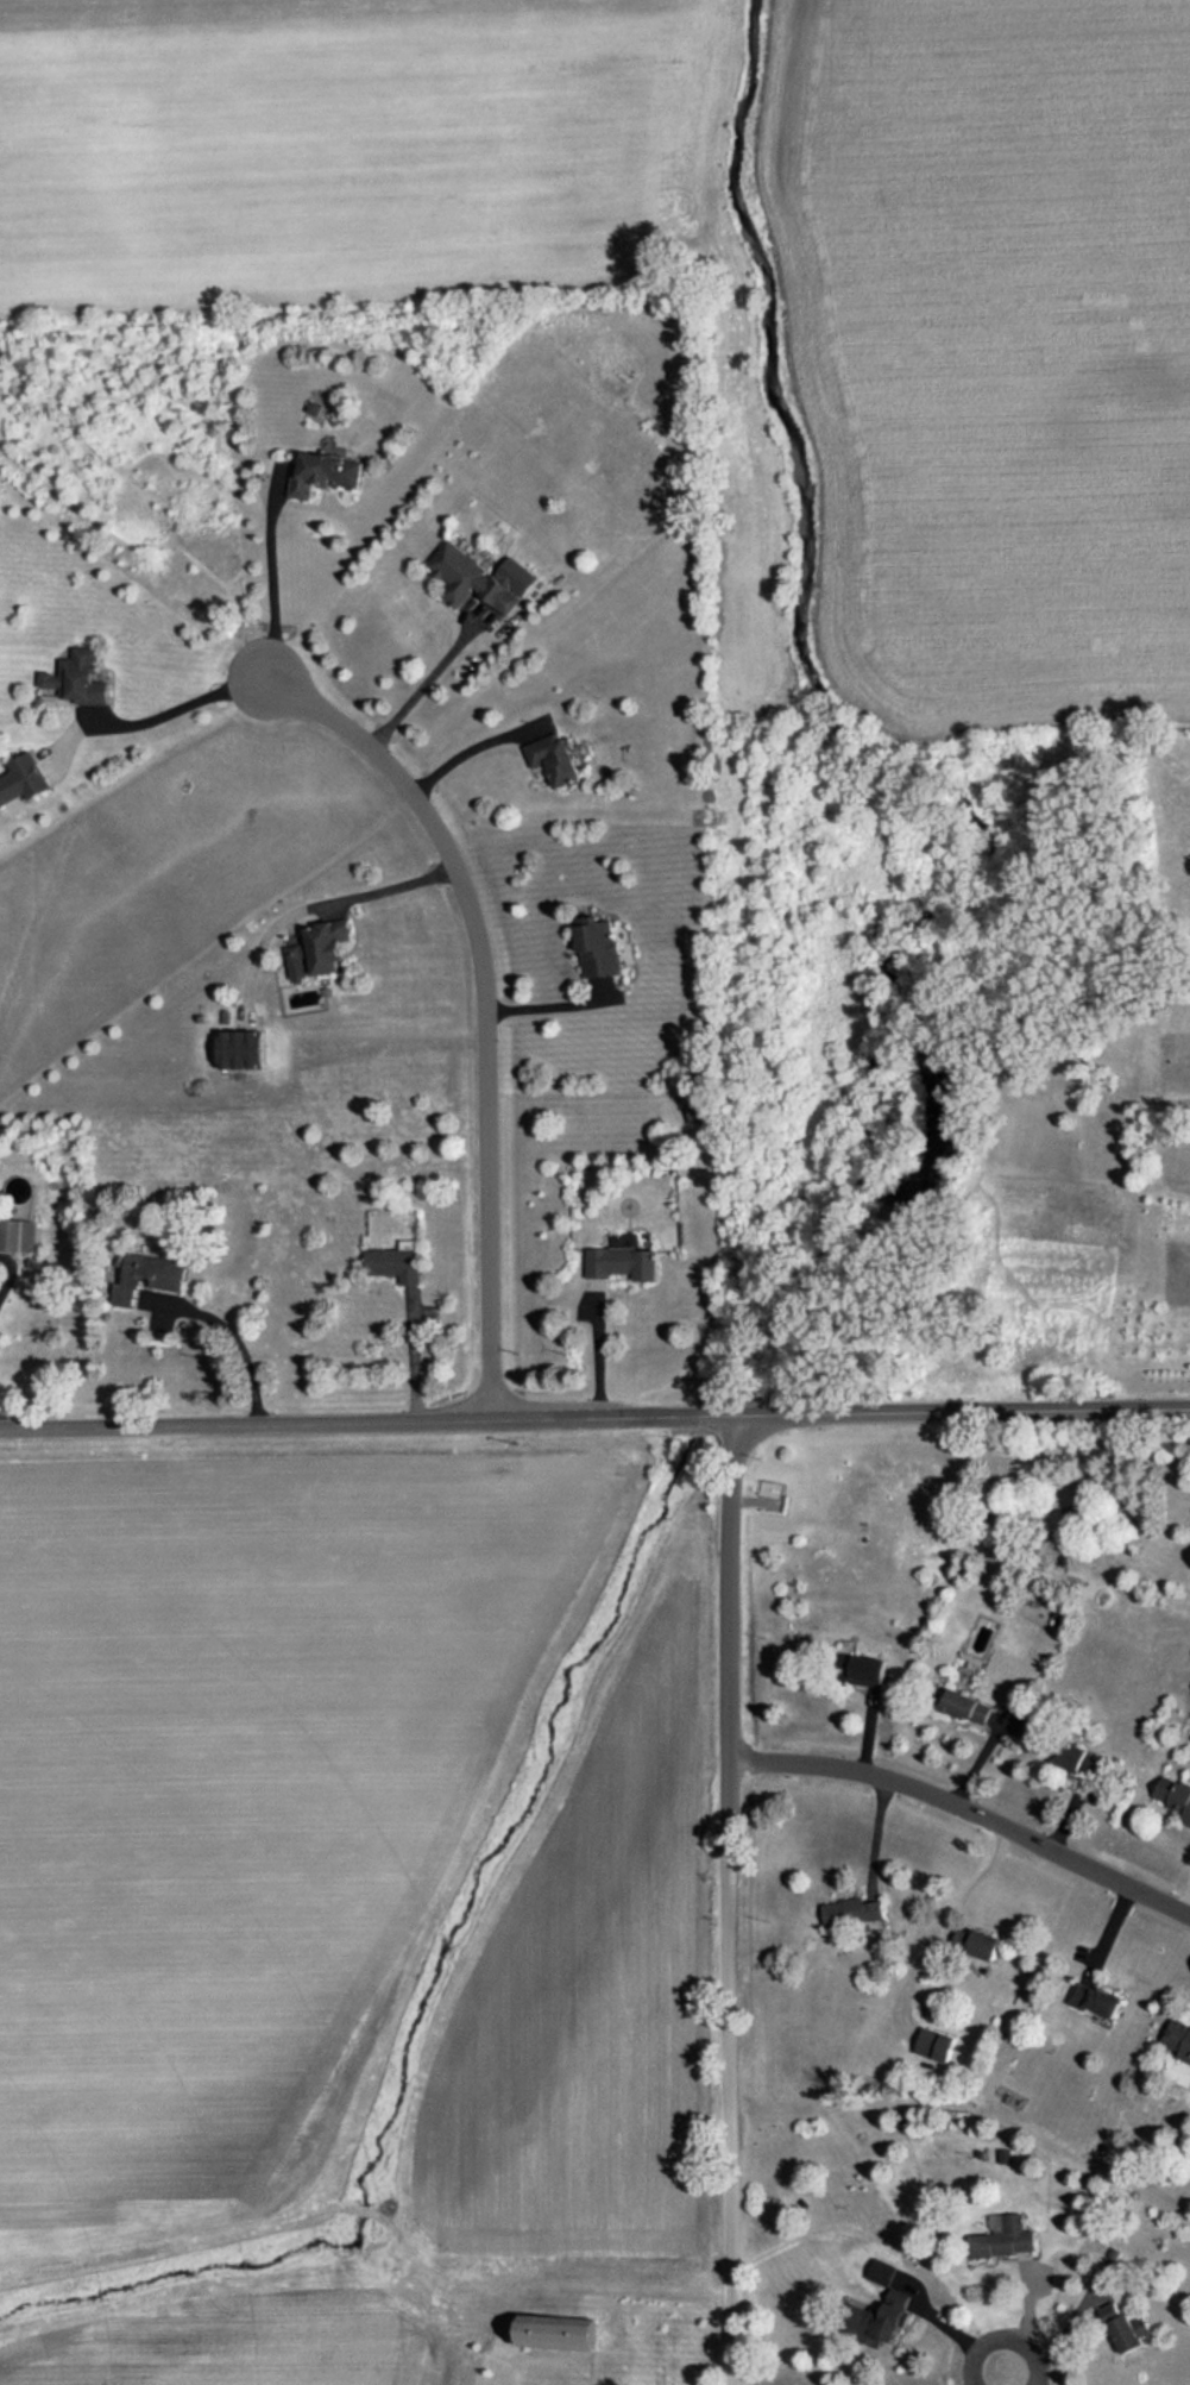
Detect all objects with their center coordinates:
building: (314, 407)
building: (325, 469)
road: (272, 577)
building: (480, 577)
building: (77, 677)
road: (430, 678)
road: (176, 713)
road: (466, 752)
building: (554, 758)
building: (21, 778)
road: (378, 890)
road: (288, 921)
building: (598, 947)
building: (317, 949)
road: (253, 950)
road: (602, 991)
road: (485, 1003)
road: (552, 1004)
building: (240, 1048)
building: (18, 1235)
building: (623, 1262)
building: (395, 1263)
building: (145, 1274)
road: (225, 1342)
road: (600, 1349)
road: (415, 1354)
road: (962, 1412)
road: (366, 1418)
road: (728, 1633)
building: (868, 1670)
building: (968, 1706)
building: (1079, 1759)
building: (1175, 1796)
road: (967, 1806)
building: (854, 1912)
road: (942, 1918)
building: (976, 1942)
building: (1094, 1998)
building: (1178, 2040)
building: (936, 2044)
road: (730, 2119)
building: (1005, 2236)
building: (882, 2271)
building: (890, 2286)
building: (880, 2318)
road: (946, 2327)
building: (1125, 2328)
building: (558, 2330)
road: (1008, 2375)

